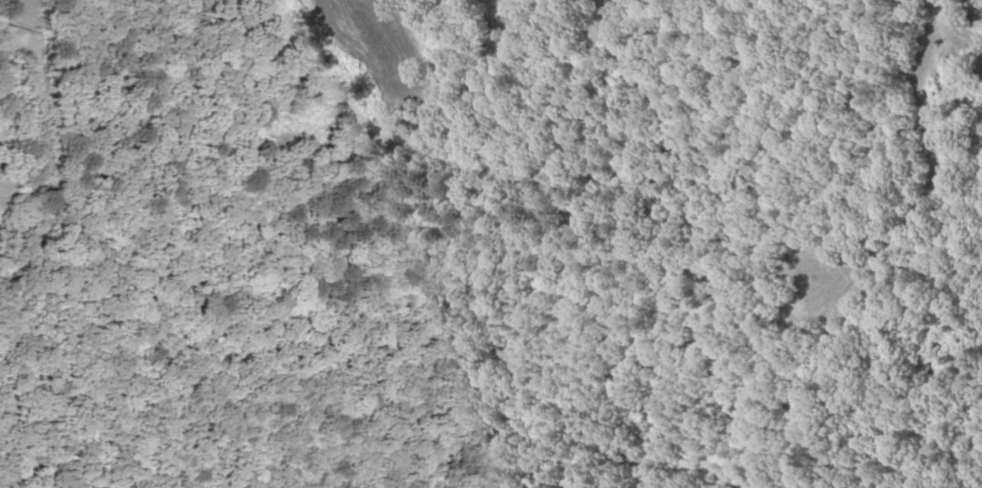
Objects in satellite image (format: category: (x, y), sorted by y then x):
road: (9, 28)

